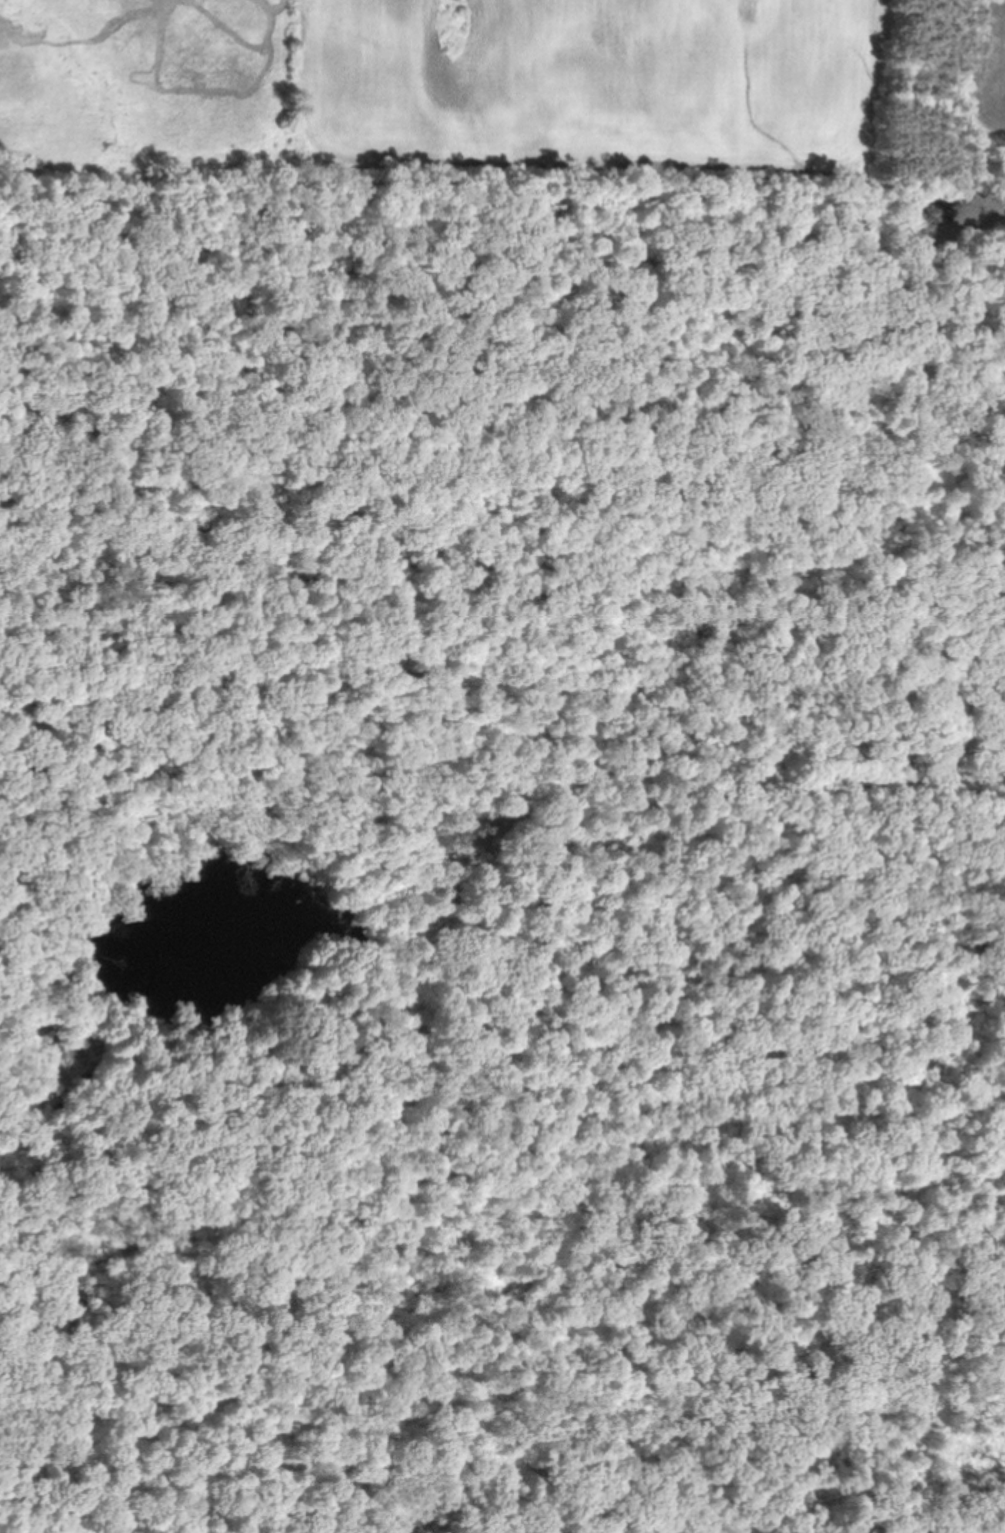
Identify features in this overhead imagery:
road: (353, 297)
park: (485, 844)
road: (556, 973)

